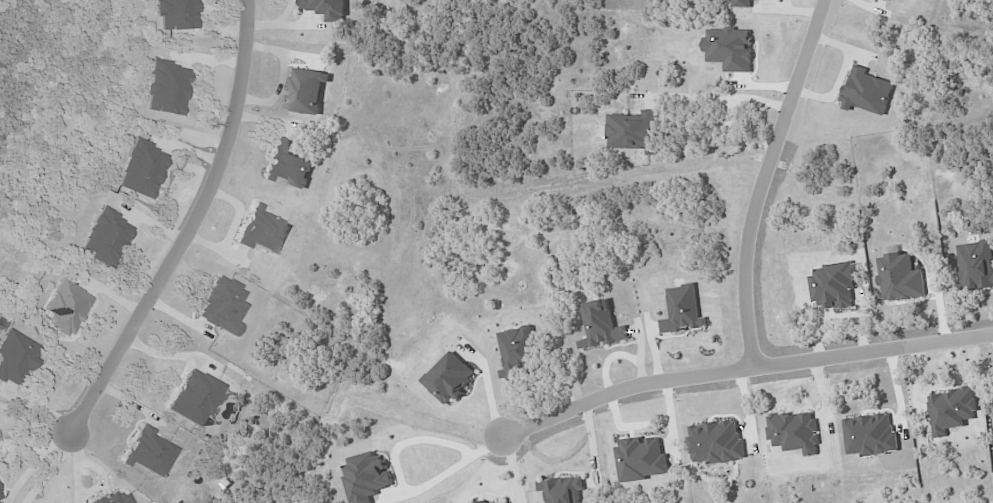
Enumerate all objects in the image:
building: (886, 0)
building: (742, 3)
building: (326, 8)
building: (175, 14)
building: (729, 48)
building: (166, 88)
building: (305, 91)
building: (866, 92)
road: (722, 97)
building: (634, 131)
road: (736, 133)
building: (287, 166)
building: (142, 169)
road: (761, 181)
road: (189, 227)
building: (261, 232)
building: (105, 238)
building: (976, 265)
building: (900, 278)
building: (835, 284)
building: (221, 306)
building: (65, 307)
building: (683, 310)
building: (601, 325)
building: (520, 352)
building: (15, 358)
road: (741, 370)
building: (449, 377)
building: (193, 397)
building: (951, 410)
road: (34, 424)
building: (794, 432)
building: (870, 435)
building: (717, 442)
building: (147, 453)
building: (642, 458)
road: (33, 463)
road: (47, 468)
building: (367, 475)
road: (399, 483)
building: (563, 490)
building: (0, 498)
building: (112, 499)
building: (483, 502)

